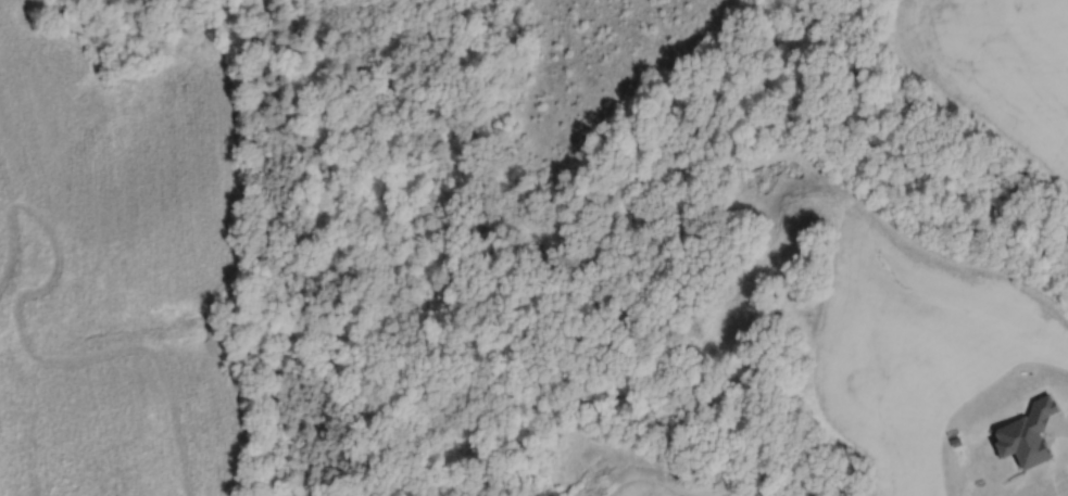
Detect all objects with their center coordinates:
road: (1067, 427)

